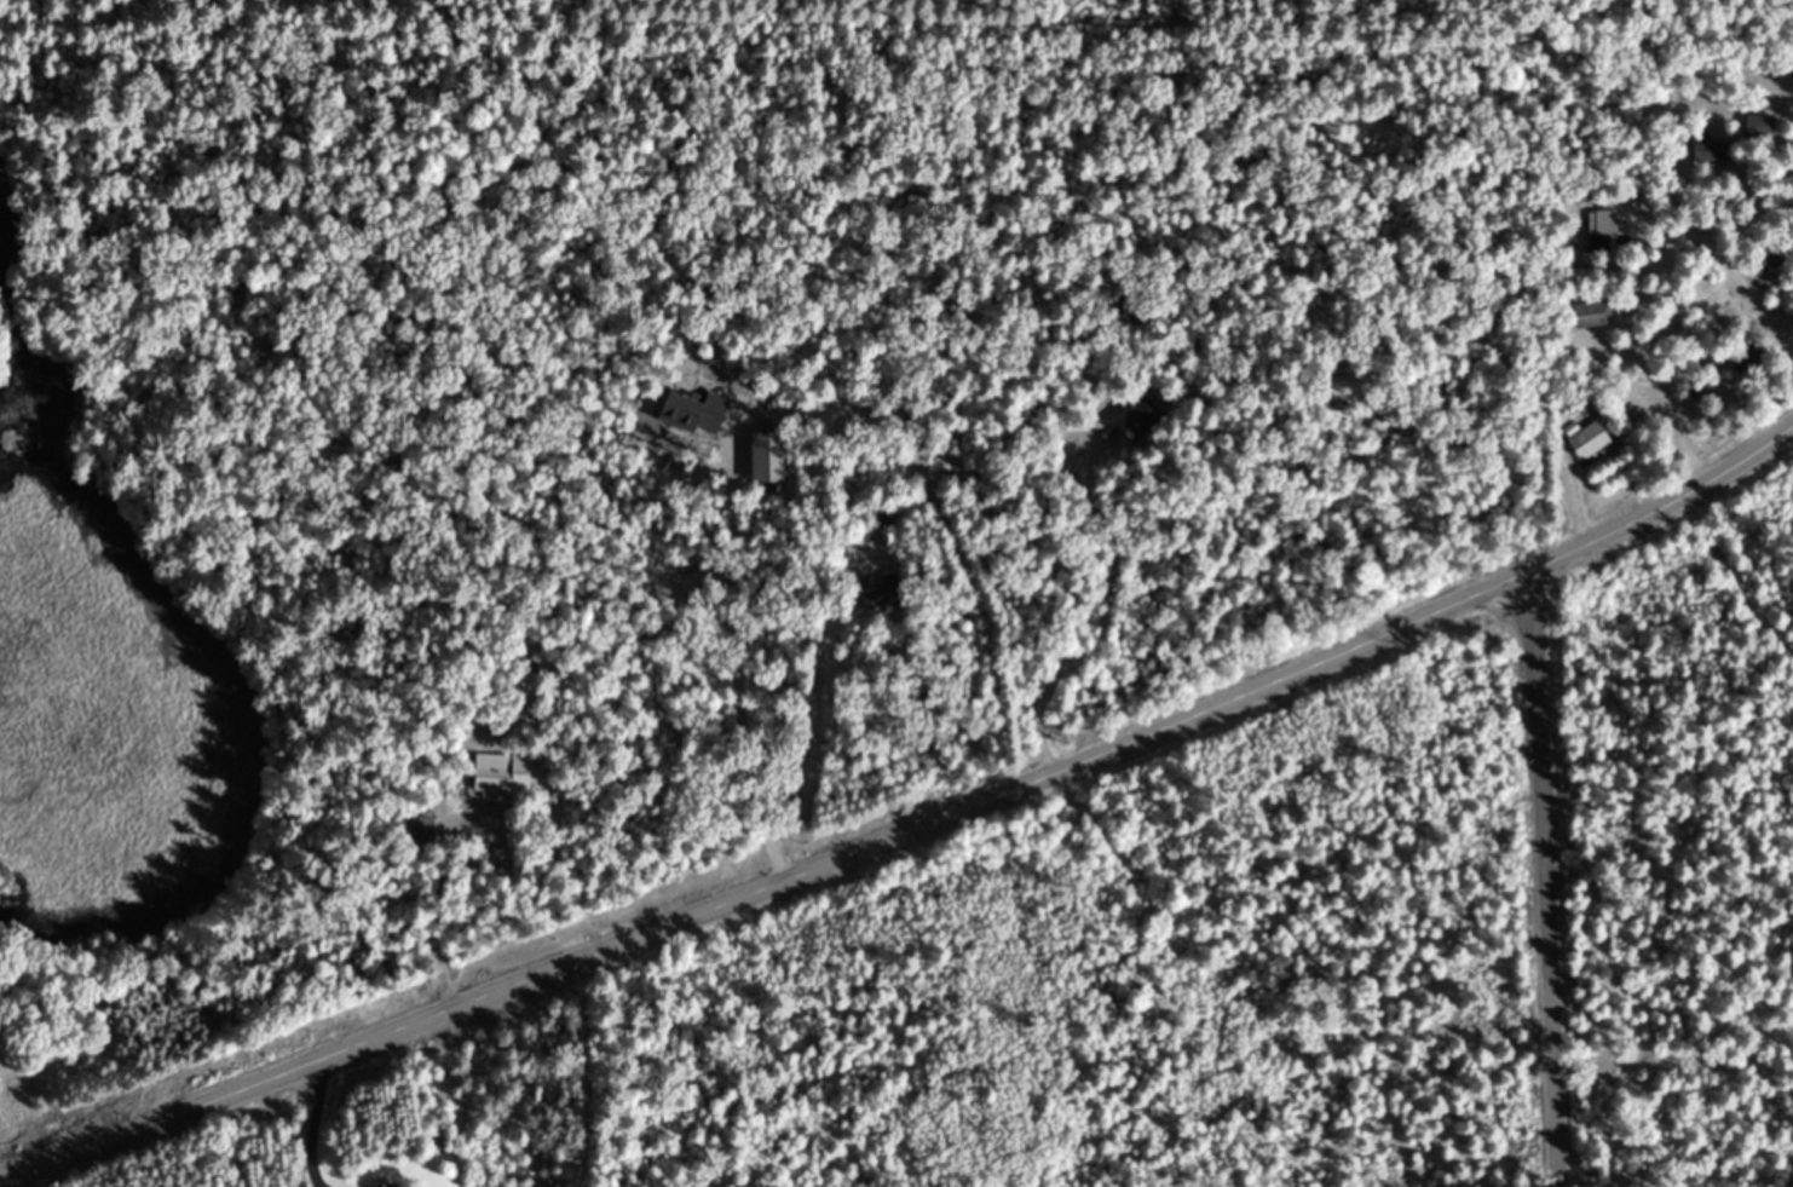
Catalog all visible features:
building: (1759, 125)
building: (1708, 149)
building: (1598, 227)
building: (1769, 261)
road: (1734, 272)
building: (1595, 311)
building: (1747, 355)
building: (1137, 416)
building: (1590, 438)
building: (881, 515)
building: (883, 590)
road: (1107, 605)
road: (1527, 633)
road: (719, 638)
building: (501, 772)
road: (910, 830)
park: (1673, 840)
road: (432, 912)
road: (1539, 941)
road: (316, 1125)
building: (386, 1186)

